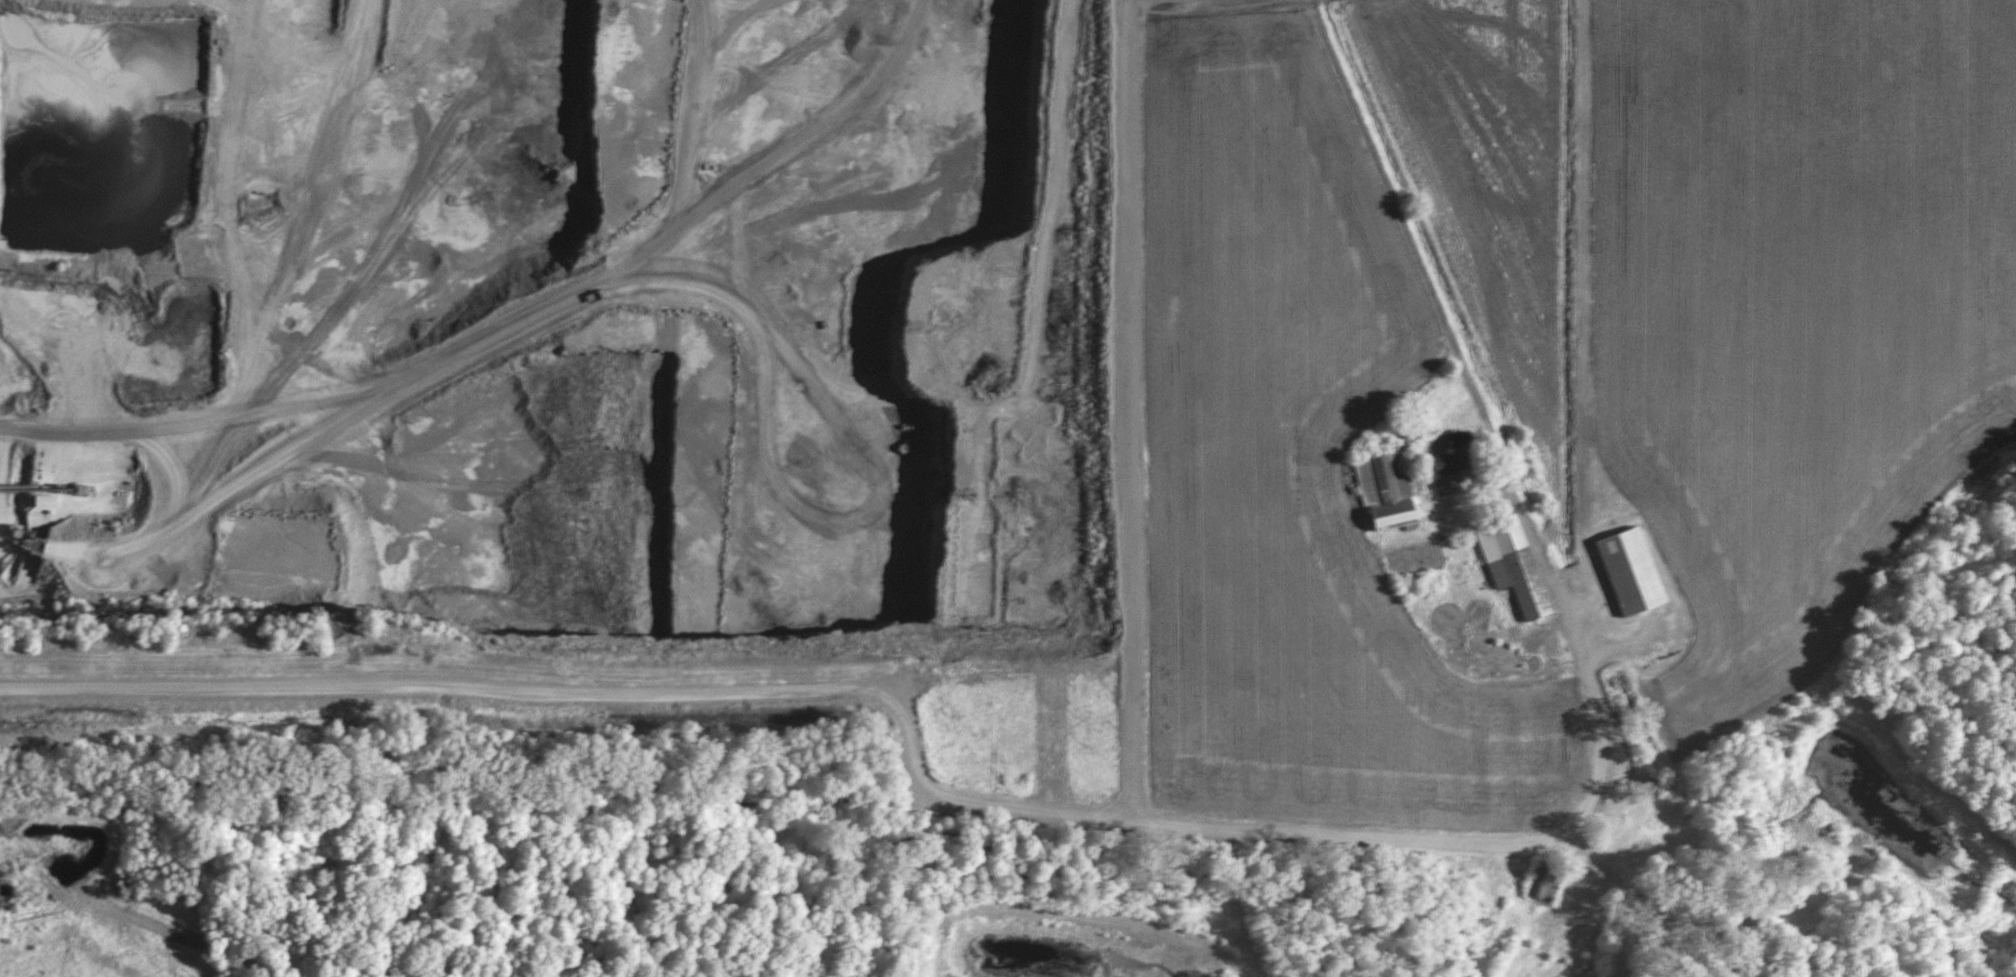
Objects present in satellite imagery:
road: (1449, 340)
quarry: (429, 347)
building: (1451, 462)
building: (1388, 489)
building: (1517, 569)
building: (1634, 572)

